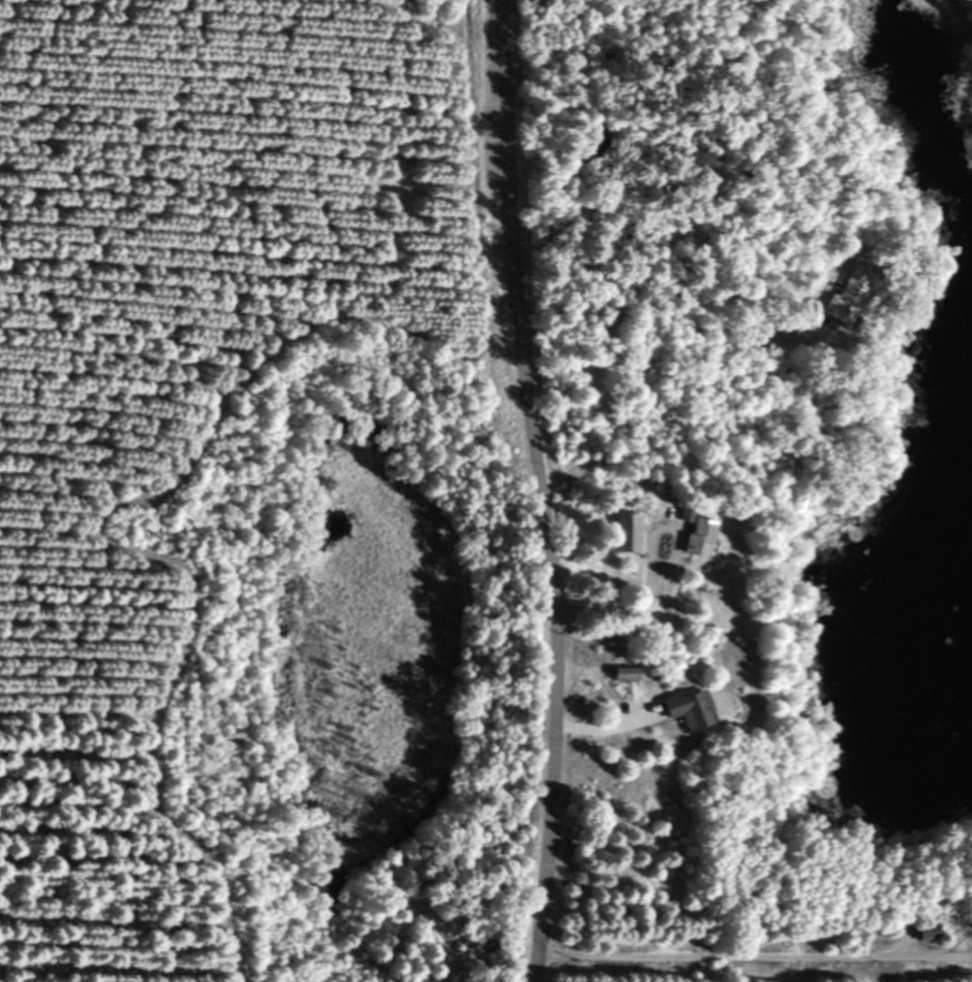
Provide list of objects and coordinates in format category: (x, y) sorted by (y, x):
building: (846, 294)
road: (662, 318)
road: (538, 490)
building: (623, 532)
building: (689, 538)
road: (649, 575)
building: (618, 673)
building: (681, 709)
road: (607, 730)
building: (918, 933)
road: (753, 955)

